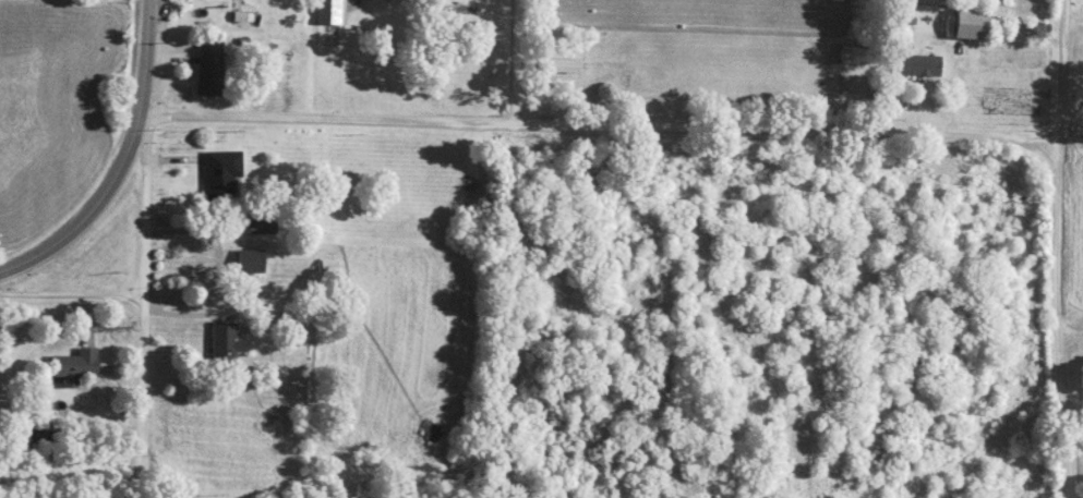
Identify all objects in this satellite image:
building: (329, 11)
building: (973, 24)
road: (144, 57)
building: (1013, 57)
road: (519, 63)
building: (920, 64)
building: (212, 73)
building: (1009, 76)
building: (1012, 101)
road: (598, 127)
building: (221, 173)
road: (88, 209)
building: (260, 220)
road: (1058, 248)
building: (251, 260)
building: (329, 265)
road: (71, 297)
road: (141, 305)
park: (1078, 330)
road: (1071, 335)
building: (226, 342)
building: (75, 365)
building: (34, 434)
road: (1075, 451)

